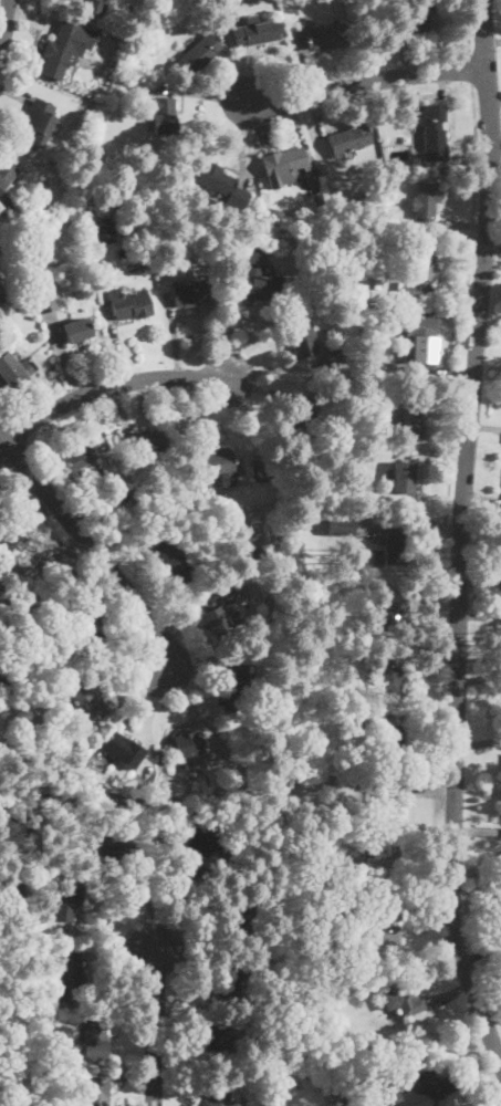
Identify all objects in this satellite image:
road: (22, 4)
building: (94, 7)
building: (420, 17)
road: (4, 20)
road: (468, 28)
building: (260, 32)
building: (327, 35)
building: (64, 46)
building: (197, 53)
road: (471, 70)
road: (366, 80)
building: (81, 111)
building: (163, 115)
building: (38, 122)
building: (82, 122)
building: (432, 135)
building: (349, 139)
building: (283, 166)
building: (3, 174)
building: (216, 179)
building: (64, 180)
building: (317, 198)
building: (426, 198)
building: (4, 232)
building: (104, 232)
building: (85, 254)
building: (259, 276)
building: (418, 276)
building: (377, 284)
building: (194, 292)
building: (44, 301)
building: (131, 305)
building: (21, 307)
building: (379, 307)
road: (466, 309)
building: (373, 325)
building: (75, 330)
building: (417, 336)
building: (302, 337)
building: (336, 356)
building: (13, 371)
road: (108, 386)
building: (305, 407)
building: (413, 413)
road: (4, 416)
building: (299, 422)
road: (4, 424)
building: (150, 441)
building: (76, 457)
building: (219, 462)
building: (401, 478)
building: (88, 484)
building: (114, 494)
building: (202, 497)
building: (121, 524)
building: (341, 524)
building: (12, 531)
road: (462, 533)
building: (192, 534)
building: (396, 544)
road: (93, 549)
building: (168, 554)
building: (210, 562)
building: (252, 568)
building: (50, 573)
building: (77, 601)
building: (215, 612)
building: (392, 615)
building: (86, 636)
building: (393, 647)
building: (250, 669)
building: (390, 671)
building: (231, 696)
building: (86, 702)
building: (27, 706)
building: (390, 740)
building: (189, 743)
building: (124, 750)
building: (13, 771)
building: (361, 780)
building: (137, 797)
building: (394, 801)
building: (199, 843)
building: (108, 847)
building: (384, 863)
building: (420, 887)
building: (12, 890)
building: (66, 899)
building: (3, 912)
building: (238, 919)
building: (385, 929)
building: (253, 962)
building: (71, 975)
building: (229, 981)
building: (403, 998)
road: (156, 1022)
building: (3, 1037)
building: (95, 1037)
building: (217, 1041)
building: (353, 1076)
building: (435, 1085)
building: (96, 1092)
building: (219, 1094)
building: (343, 1097)

